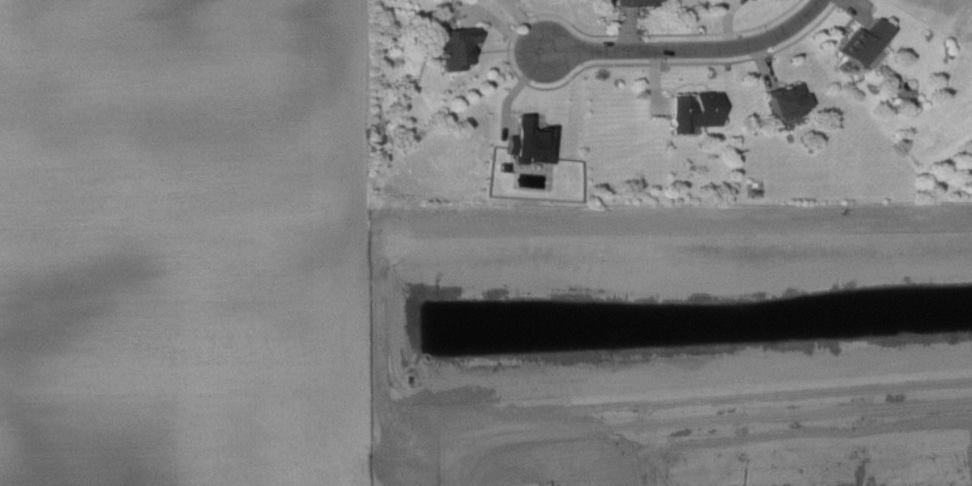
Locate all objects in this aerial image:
building: (638, 2)
building: (864, 42)
building: (455, 46)
road: (690, 51)
building: (875, 58)
building: (788, 99)
building: (695, 111)

